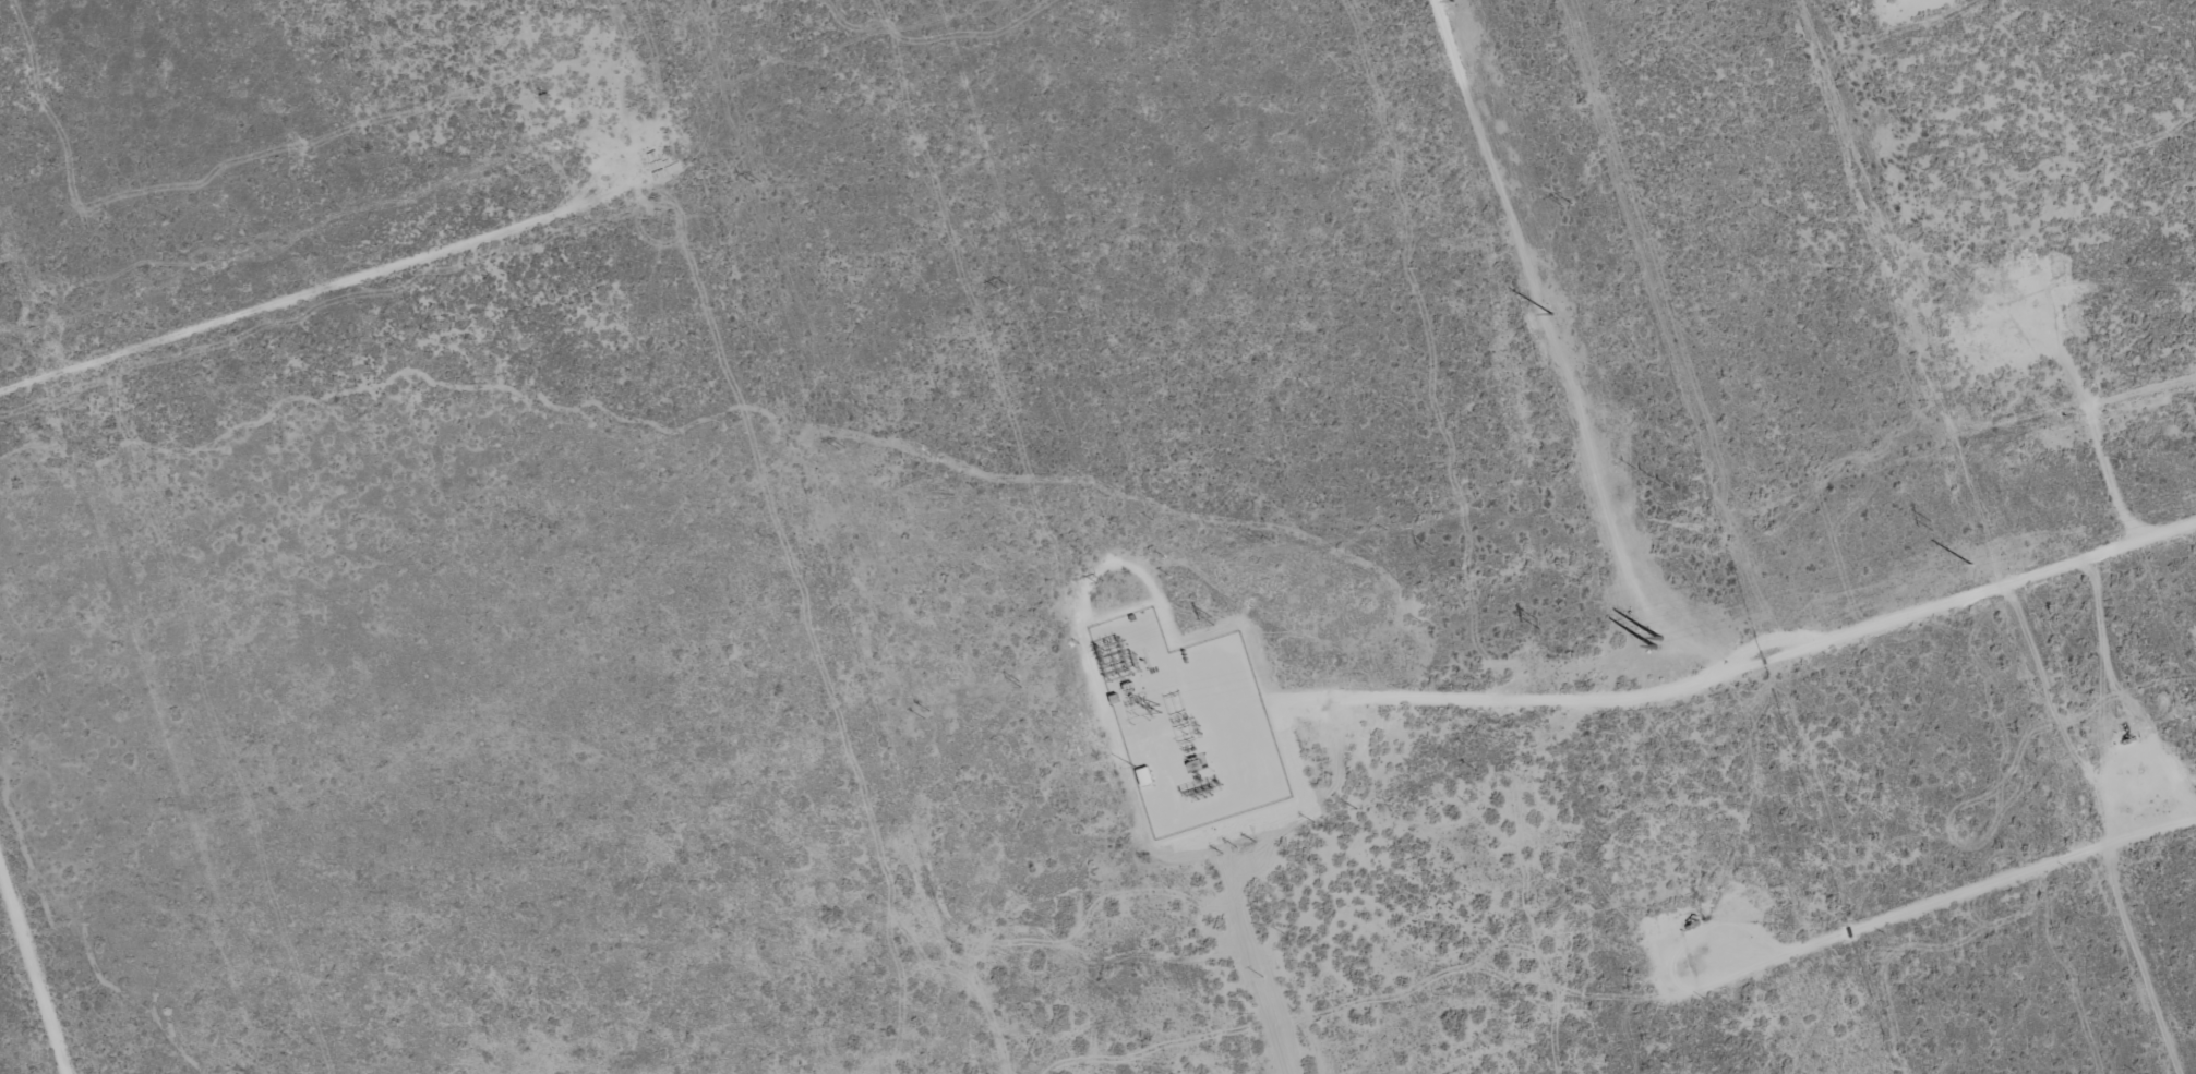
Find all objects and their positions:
road: (1935, 7)
power tower: (757, 184)
power tower: (1567, 209)
power tower: (1003, 289)
road: (255, 301)
power tower: (841, 450)
power tower: (1652, 484)
power tower: (1930, 526)
power tower: (1431, 559)
power tower: (1097, 586)
power tower: (1213, 623)
power tower: (1536, 625)
power tower: (1020, 688)
road: (1717, 690)
power tower: (926, 716)
power substation: (1189, 724)
road: (1968, 908)
road: (34, 969)

